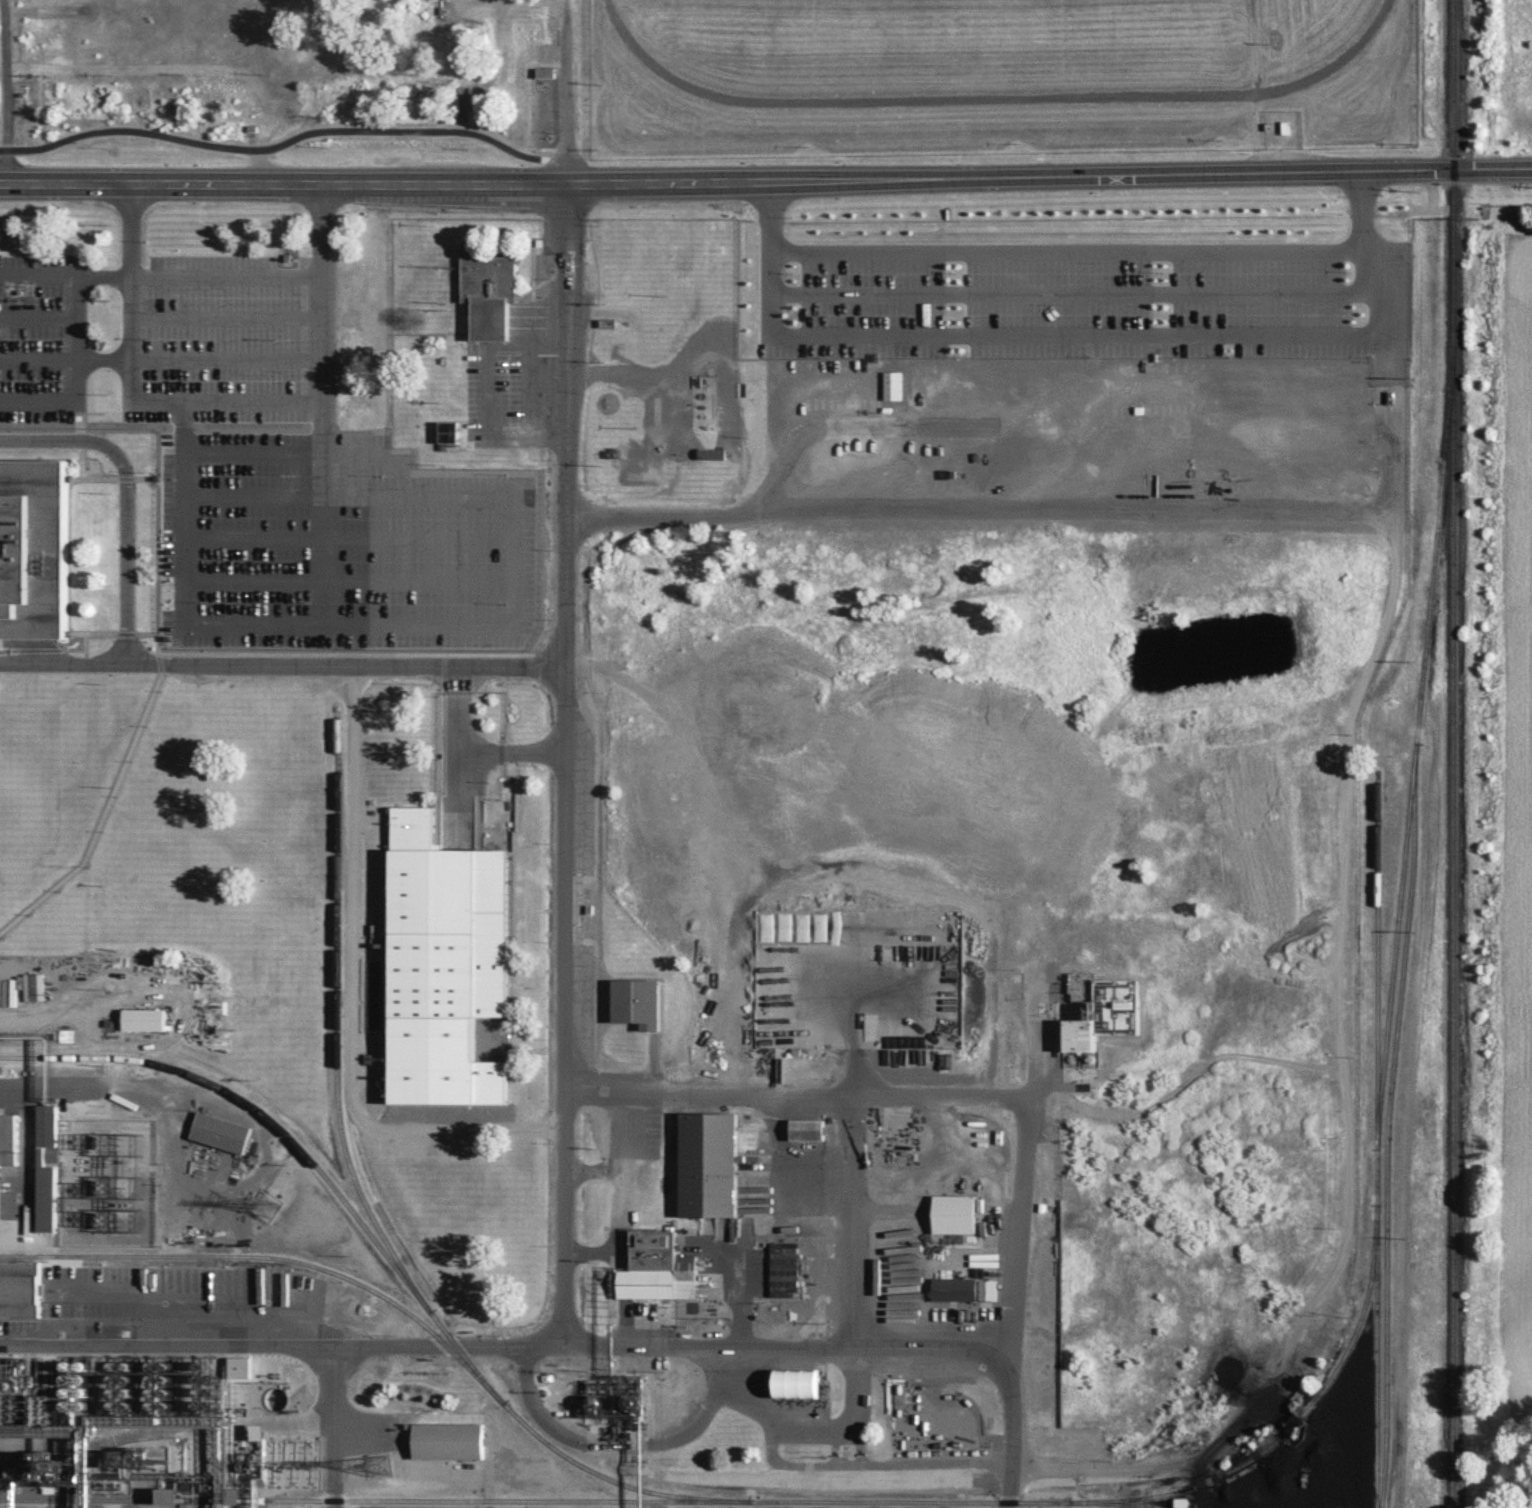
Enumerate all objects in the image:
airport: (998, 75)
road: (3, 93)
road: (567, 93)
road: (996, 102)
road: (284, 137)
road: (766, 184)
road: (1067, 249)
road: (770, 260)
road: (37, 276)
road: (226, 276)
road: (102, 277)
road: (1073, 293)
building: (488, 294)
road: (37, 315)
road: (226, 316)
road: (1078, 334)
road: (37, 358)
road: (102, 358)
road: (226, 359)
road: (75, 376)
road: (130, 388)
road: (486, 390)
road: (252, 450)
road: (380, 452)
road: (252, 494)
road: (124, 499)
road: (1146, 514)
road: (252, 536)
road: (418, 537)
building: (36, 554)
road: (184, 578)
road: (253, 580)
road: (418, 581)
road: (360, 622)
road: (93, 633)
road: (126, 633)
road: (31, 649)
road: (81, 649)
road: (324, 653)
road: (159, 662)
road: (62, 665)
road: (343, 666)
road: (479, 746)
railway: (1452, 753)
road: (562, 766)
road: (101, 817)
railway: (1395, 942)
railway: (1377, 944)
building: (444, 961)
building: (33, 983)
road: (352, 992)
road: (851, 1004)
building: (1105, 1014)
building: (143, 1019)
road: (51, 1087)
road: (937, 1095)
railway: (252, 1103)
road: (624, 1121)
building: (806, 1129)
building: (220, 1132)
building: (8, 1139)
railway: (1386, 1140)
building: (707, 1163)
power substation: (107, 1186)
railway: (368, 1206)
power tower: (269, 1211)
building: (953, 1213)
road: (850, 1222)
railway: (263, 1255)
building: (657, 1267)
building: (783, 1269)
building: (19, 1288)
building: (954, 1288)
building: (987, 1290)
road: (164, 1343)
road: (445, 1348)
road: (851, 1351)
building: (796, 1382)
building: (157, 1415)
road: (336, 1426)
road: (814, 1430)
railway: (1280, 1433)
building: (447, 1440)
road: (621, 1443)
road: (871, 1464)
power tower: (378, 1467)
railway: (580, 1499)

